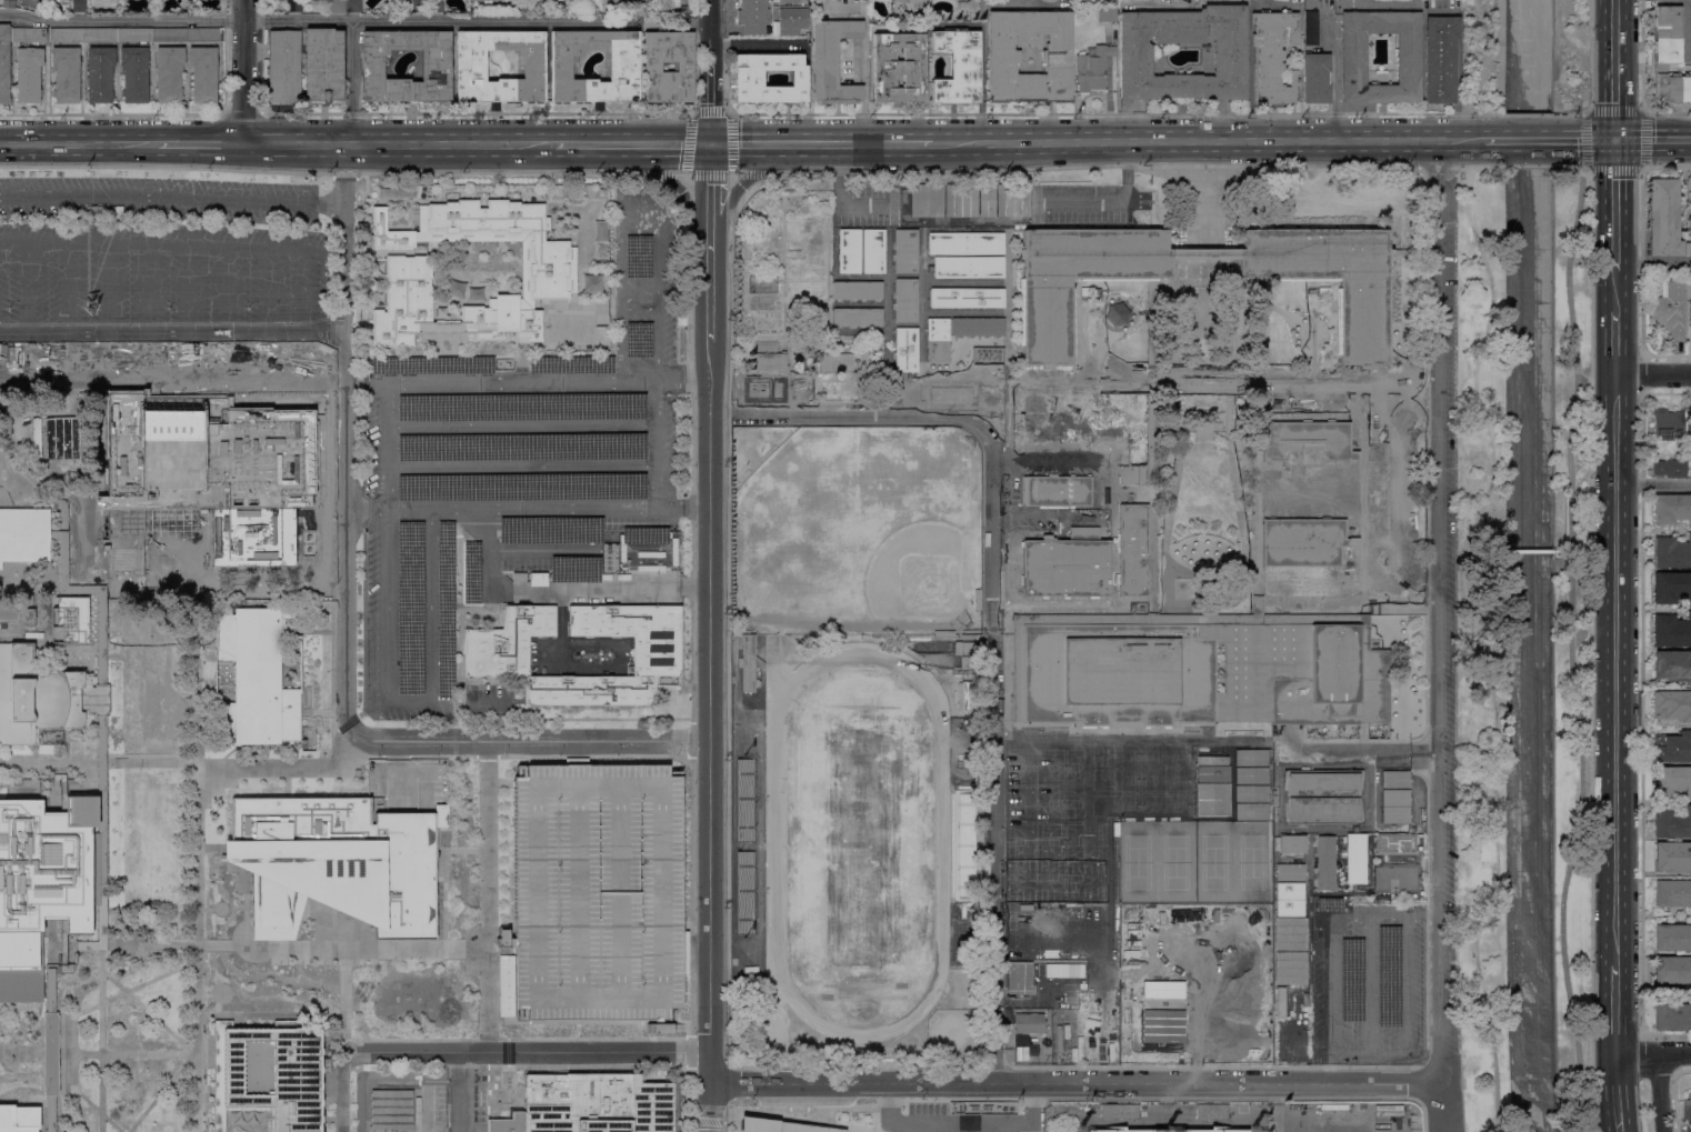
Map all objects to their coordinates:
building: (474, 0)
building: (882, 0)
building: (781, 1)
building: (1078, 2)
building: (1109, 2)
building: (8, 3)
building: (668, 4)
building: (79, 6)
building: (293, 6)
building: (353, 6)
building: (419, 6)
building: (436, 6)
building: (519, 6)
building: (914, 6)
building: (334, 7)
building: (1105, 13)
building: (788, 18)
road: (311, 20)
building: (1311, 28)
road: (1591, 31)
building: (27, 36)
building: (68, 36)
building: (100, 36)
building: (134, 36)
building: (169, 36)
building: (202, 36)
road: (1248, 48)
park: (1569, 54)
building: (1437, 56)
park: (1480, 56)
building: (1029, 57)
building: (1272, 57)
road: (1579, 57)
building: (1668, 57)
building: (1353, 59)
road: (1455, 59)
road: (1489, 59)
building: (1134, 60)
building: (4, 62)
building: (832, 62)
building: (283, 67)
building: (322, 67)
building: (682, 67)
building: (957, 67)
building: (898, 68)
building: (1091, 69)
road: (243, 71)
road: (1614, 71)
building: (436, 72)
building: (470, 72)
building: (623, 73)
building: (28, 74)
building: (66, 74)
building: (100, 74)
building: (134, 74)
building: (169, 74)
building: (203, 74)
road: (1334, 77)
building: (748, 79)
building: (1315, 79)
road: (1641, 81)
road: (351, 82)
road: (431, 112)
road: (1095, 113)
road: (157, 114)
road: (1524, 114)
road: (1641, 140)
road: (1183, 141)
road: (1585, 141)
road: (1460, 142)
road: (1491, 142)
road: (1530, 142)
road: (1588, 142)
traffic signals: (1615, 142)
road: (1653, 142)
road: (78, 143)
road: (200, 143)
road: (627, 143)
traffic signals: (710, 143)
road: (821, 143)
road: (393, 144)
road: (1434, 167)
road: (1459, 167)
road: (1527, 167)
road: (324, 171)
road: (659, 172)
road: (681, 173)
road: (690, 173)
road: (736, 173)
road: (661, 174)
road: (752, 174)
road: (757, 174)
road: (709, 190)
road: (1639, 191)
road: (172, 196)
building: (1690, 198)
road: (983, 202)
road: (1615, 202)
parking lot: (983, 204)
road: (631, 209)
building: (94, 211)
building: (117, 211)
building: (1663, 217)
road: (153, 243)
building: (1688, 249)
building: (849, 251)
building: (873, 251)
building: (905, 251)
parking lot: (160, 252)
building: (1204, 252)
building: (967, 256)
road: (1652, 263)
building: (548, 270)
building: (1331, 277)
road: (1615, 287)
road: (28, 288)
road: (67, 288)
road: (108, 288)
road: (148, 288)
road: (188, 289)
road: (228, 289)
road: (269, 290)
road: (308, 291)
building: (857, 291)
building: (1085, 292)
building: (1323, 292)
building: (965, 298)
building: (403, 301)
building: (907, 301)
road: (638, 302)
building: (1670, 308)
road: (1437, 310)
building: (1689, 314)
building: (1047, 315)
building: (857, 318)
building: (440, 327)
road: (441, 327)
building: (819, 328)
building: (977, 328)
road: (172, 332)
building: (938, 341)
road: (1615, 343)
building: (806, 350)
building: (905, 350)
road: (1181, 353)
road: (444, 354)
road: (520, 361)
building: (836, 363)
building: (801, 365)
building: (769, 368)
road: (1653, 373)
road: (1164, 379)
road: (527, 383)
building: (907, 397)
road: (726, 404)
road: (1228, 410)
building: (1668, 423)
road: (519, 425)
building: (1091, 425)
building: (1690, 429)
road: (344, 433)
building: (56, 438)
road: (386, 444)
road: (653, 444)
building: (1304, 444)
road: (1205, 445)
road: (1018, 447)
road: (1153, 448)
road: (1257, 448)
road: (519, 465)
building: (1669, 468)
parking lot: (512, 470)
building: (1648, 472)
building: (1688, 473)
road: (1653, 483)
building: (1095, 490)
building: (1057, 491)
road: (1395, 491)
road: (1361, 492)
building: (1152, 494)
road: (526, 508)
building: (1671, 508)
park: (855, 530)
building: (23, 534)
building: (250, 537)
building: (1303, 542)
road: (1364, 543)
road: (540, 550)
building: (1132, 550)
building: (1672, 553)
building: (1067, 565)
road: (101, 580)
building: (538, 580)
building: (1671, 588)
road: (31, 589)
road: (107, 589)
road: (561, 589)
building: (1534, 592)
building: (978, 600)
road: (1347, 602)
road: (446, 605)
road: (1053, 605)
road: (470, 612)
road: (499, 612)
road: (462, 613)
building: (16, 614)
road: (993, 614)
road: (470, 619)
road: (1128, 619)
building: (68, 621)
road: (560, 621)
building: (1671, 631)
building: (30, 633)
road: (10, 634)
building: (943, 634)
building: (100, 639)
park: (1570, 643)
parking lot: (1445, 644)
road: (1479, 647)
road: (444, 648)
building: (964, 649)
road: (1569, 650)
road: (1591, 650)
park: (1480, 654)
building: (968, 663)
building: (494, 664)
building: (748, 664)
building: (1672, 667)
road: (1614, 669)
building: (1201, 674)
building: (257, 679)
road: (452, 679)
building: (41, 697)
road: (408, 699)
parking lot: (492, 700)
building: (1672, 705)
road: (360, 713)
road: (709, 715)
road: (581, 718)
road: (497, 722)
road: (453, 737)
road: (101, 739)
road: (523, 741)
building: (1674, 749)
road: (1367, 753)
road: (451, 755)
road: (50, 762)
road: (107, 762)
road: (158, 762)
road: (284, 769)
road: (691, 771)
building: (1394, 779)
building: (1671, 780)
road: (1437, 781)
road: (502, 782)
building: (1322, 784)
road: (286, 790)
building: (1395, 807)
building: (1323, 809)
park: (1107, 822)
building: (1672, 824)
building: (99, 843)
track: (854, 844)
building: (1292, 844)
building: (1395, 844)
park: (860, 845)
road: (210, 849)
building: (961, 853)
building: (1672, 858)
road: (94, 859)
road: (198, 859)
building: (1355, 859)
park: (1193, 861)
building: (332, 863)
building: (1325, 863)
building: (1289, 871)
road: (442, 875)
building: (41, 884)
building: (596, 892)
parking garage: (596, 892)
building: (1672, 893)
road: (488, 899)
building: (1289, 899)
road: (208, 909)
road: (343, 931)
building: (1290, 933)
building: (1672, 939)
road: (493, 940)
building: (502, 941)
road: (49, 942)
road: (508, 942)
road: (159, 944)
road: (499, 944)
road: (501, 945)
road: (1331, 945)
road: (339, 946)
building: (683, 952)
building: (1290, 968)
building: (1672, 970)
park: (1194, 983)
parking lot: (1365, 984)
road: (1368, 984)
road: (1405, 984)
road: (134, 986)
road: (62, 990)
road: (343, 993)
road: (209, 994)
road: (502, 1006)
road: (1613, 1009)
road: (148, 1012)
road: (271, 1014)
building: (1672, 1016)
building: (1028, 1023)
road: (660, 1025)
road: (651, 1026)
building: (656, 1026)
road: (688, 1028)
road: (654, 1029)
road: (101, 1032)
road: (347, 1046)
road: (50, 1049)
building: (49, 1050)
road: (406, 1051)
road: (72, 1052)
road: (507, 1052)
road: (586, 1052)
road: (24, 1053)
road: (132, 1053)
road: (56, 1054)
road: (1367, 1054)
road: (1651, 1054)
road: (353, 1060)
road: (556, 1065)
road: (709, 1068)
building: (264, 1078)
road: (1073, 1084)
road: (463, 1086)
road: (341, 1090)
road: (161, 1091)
road: (1673, 1092)
road: (1615, 1093)
road: (1659, 1093)
road: (359, 1099)
road: (1073, 1099)
road: (711, 1100)
building: (590, 1105)
building: (1689, 1105)
road: (710, 1108)
road: (1440, 1108)
road: (96, 1110)
building: (391, 1111)
building: (1118, 1111)
building: (1211, 1112)
road: (62, 1114)
building: (17, 1118)
road: (874, 1119)
road: (960, 1123)
building: (779, 1125)
road: (842, 1125)
road: (466, 1129)
building: (1167, 1131)
building: (1688, 1131)

